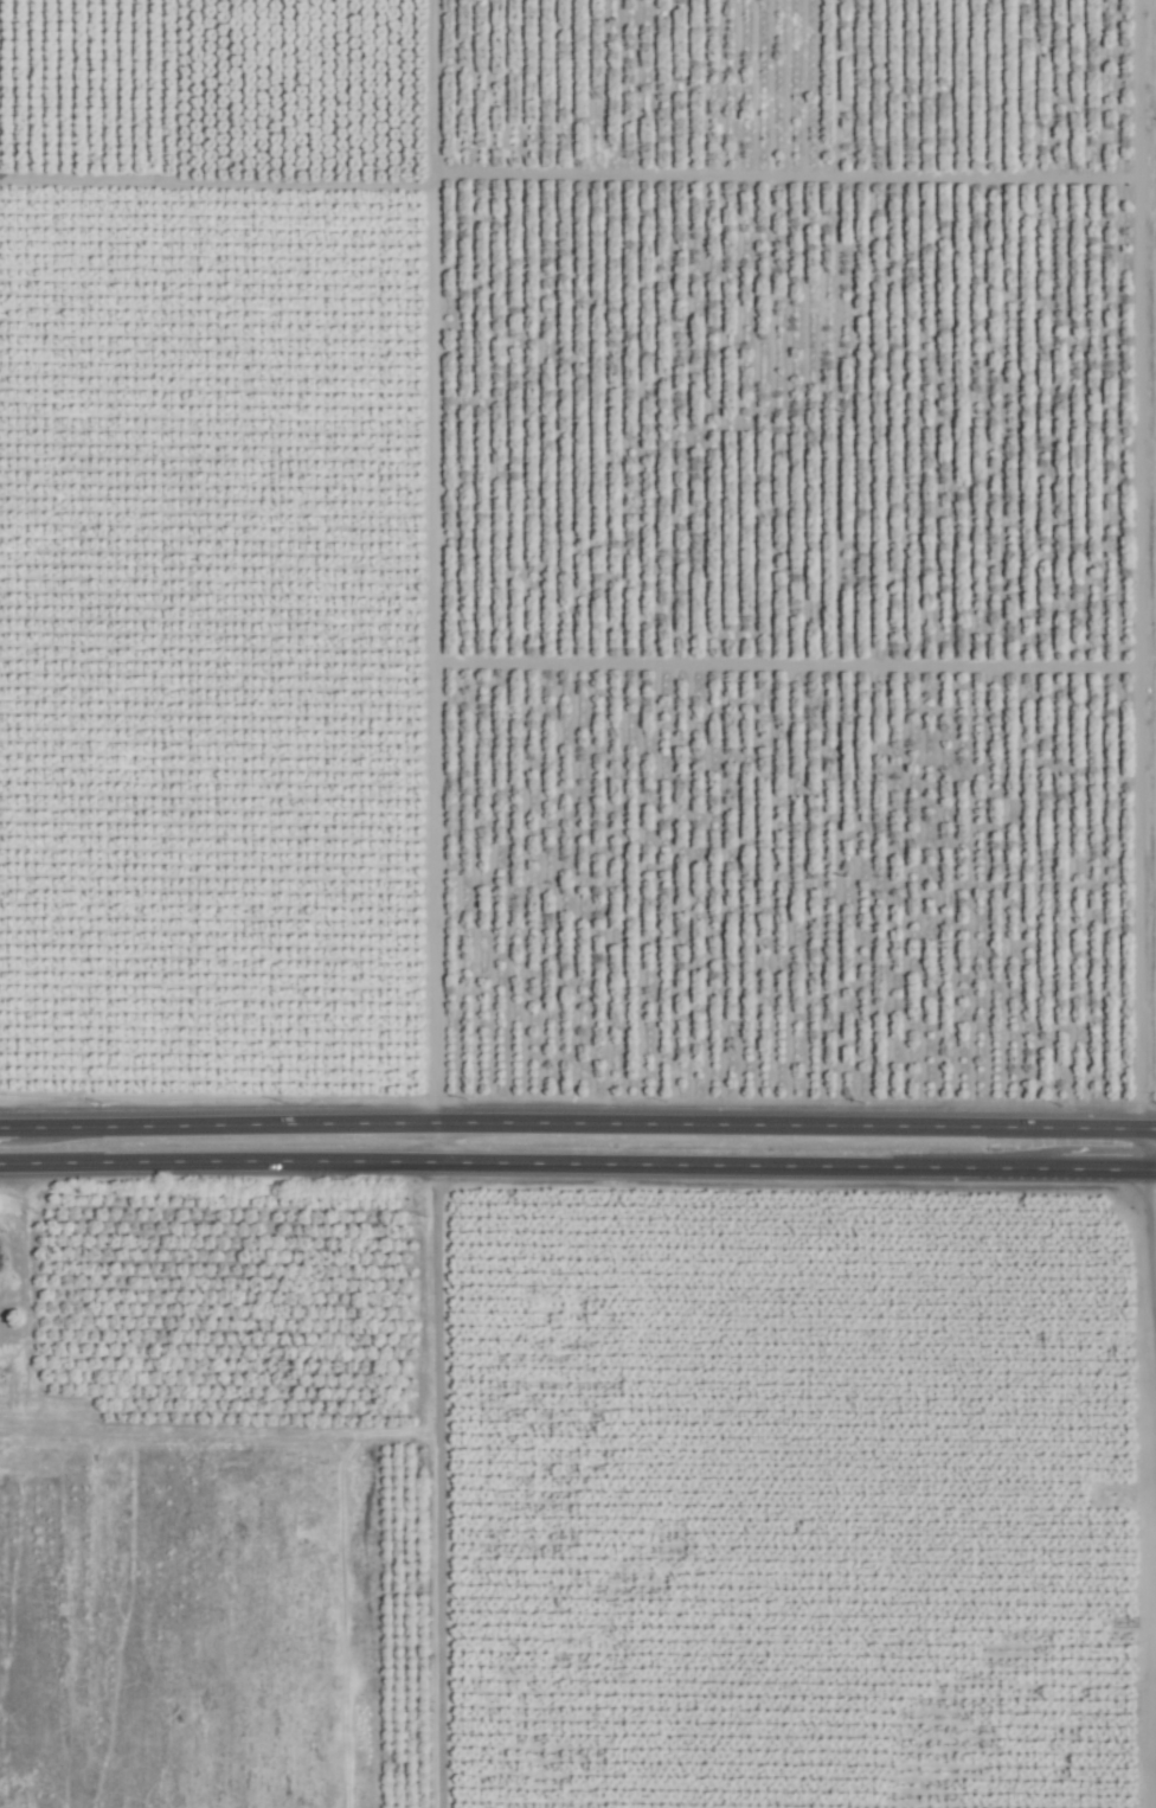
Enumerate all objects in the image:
crop: (579, 902)
road: (578, 1123)
road: (1155, 1149)
road: (578, 1162)
crop: (14, 1309)

